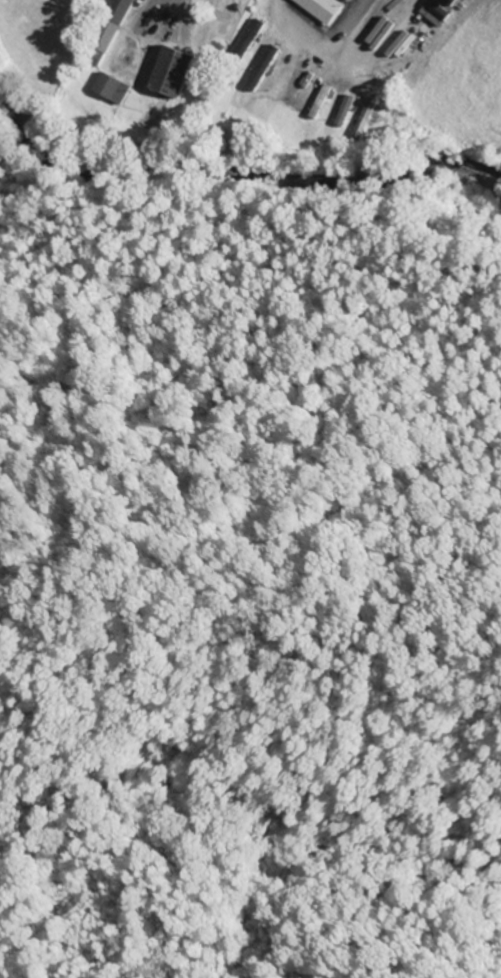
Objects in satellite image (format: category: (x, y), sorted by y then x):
building: (349, 0)
building: (322, 9)
building: (107, 32)
building: (262, 67)
building: (173, 70)
building: (279, 81)
building: (111, 87)
building: (319, 101)
building: (344, 111)
building: (363, 119)

